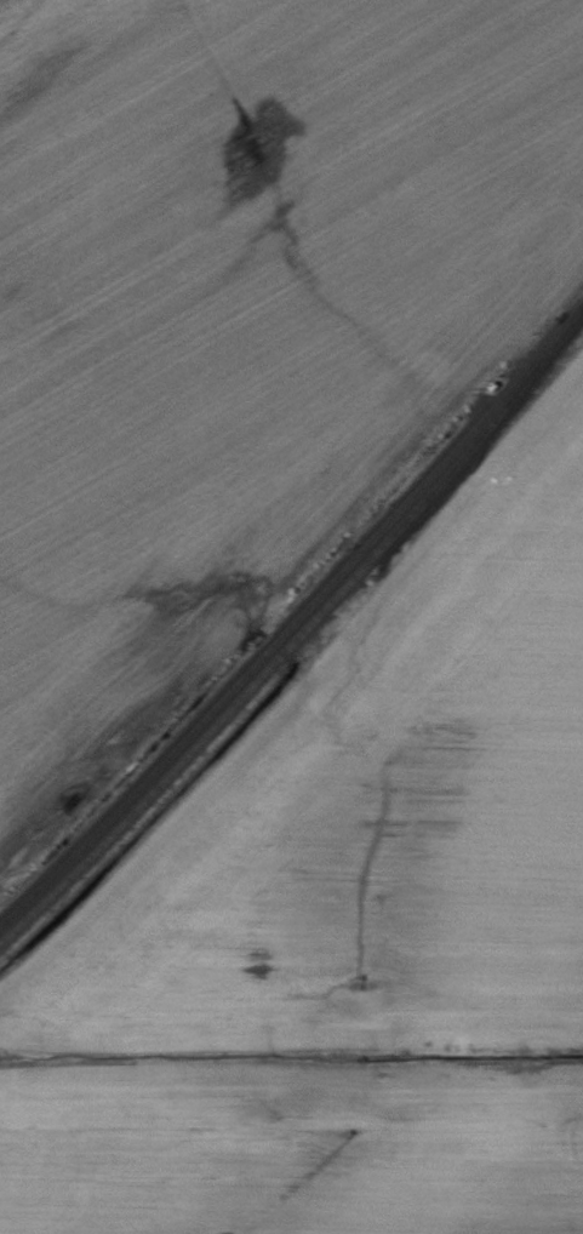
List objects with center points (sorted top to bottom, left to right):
crop: (239, 324)
railway: (292, 618)
crop: (345, 924)

